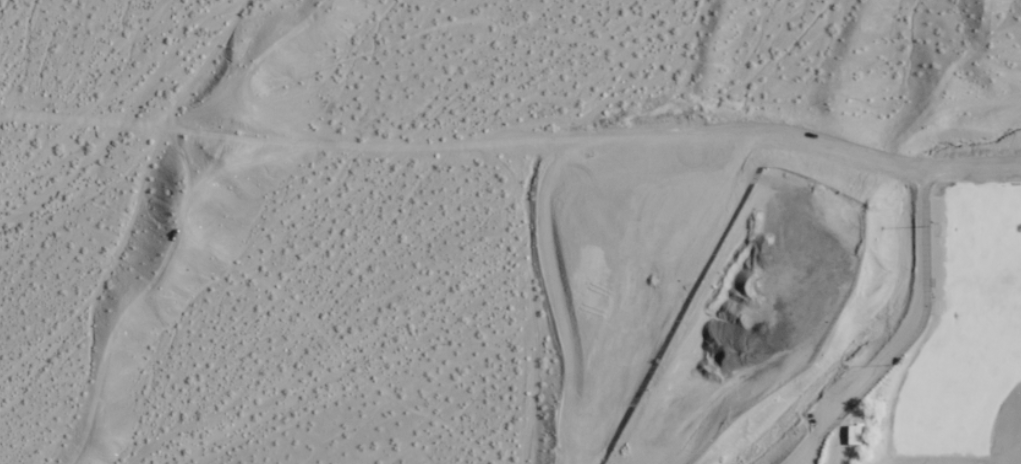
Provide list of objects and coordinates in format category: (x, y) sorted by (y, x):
building: (854, 433)

